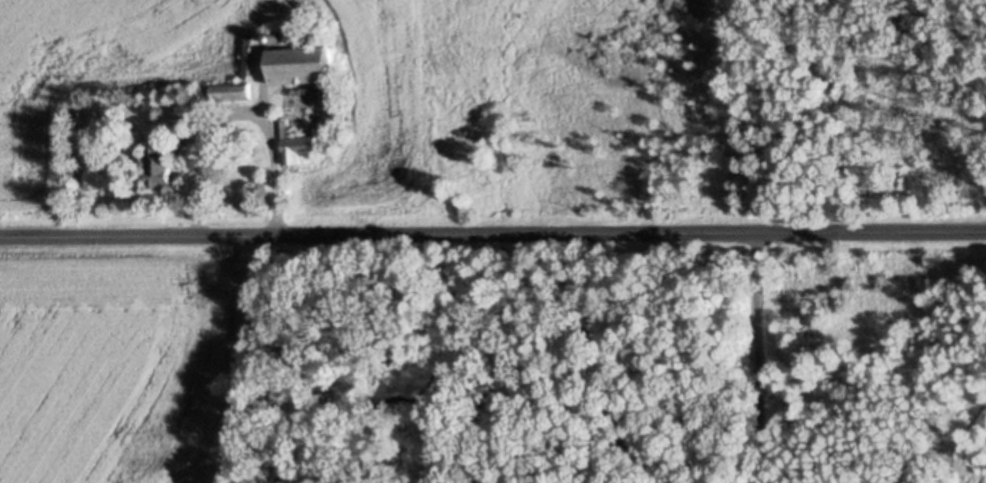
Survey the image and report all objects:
building: (322, 37)
building: (275, 38)
building: (301, 63)
building: (232, 91)
road: (269, 133)
building: (297, 144)
road: (197, 149)
building: (160, 166)
road: (492, 232)
building: (248, 318)
road: (755, 357)

